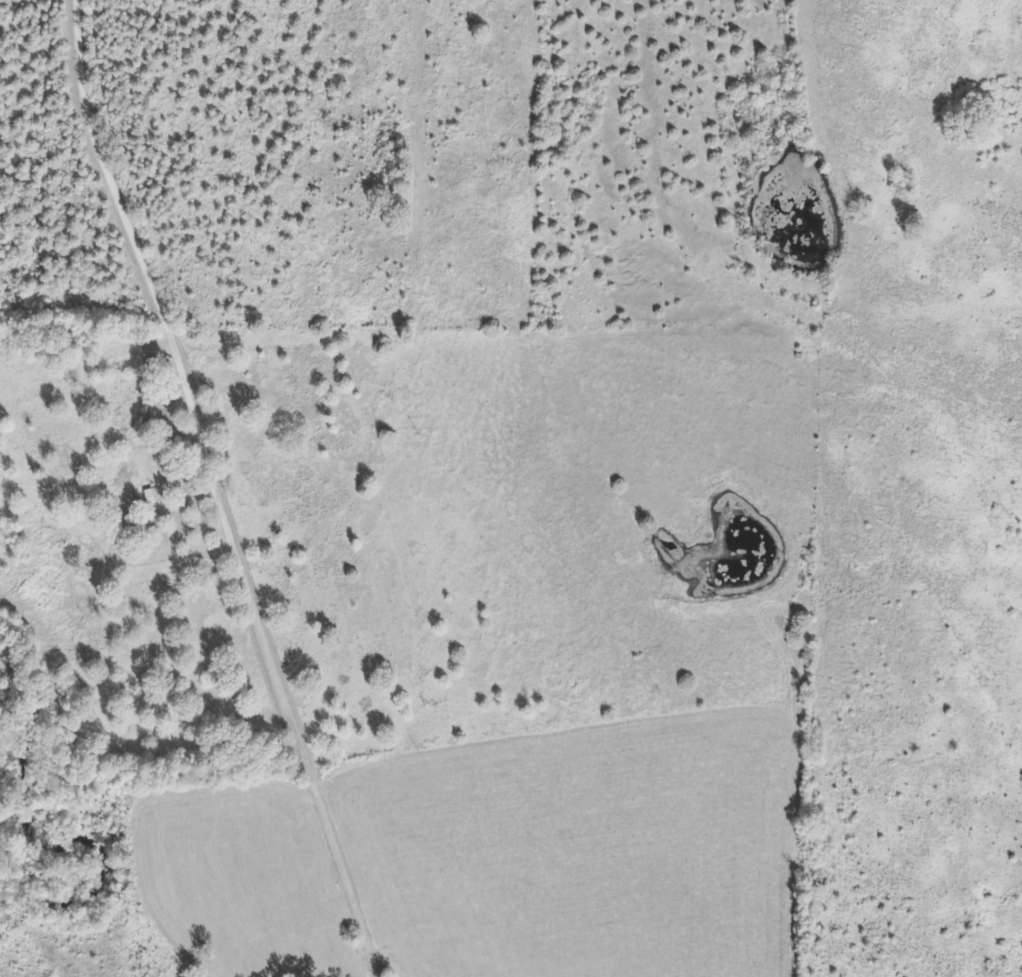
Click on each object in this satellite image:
building: (146, 495)

